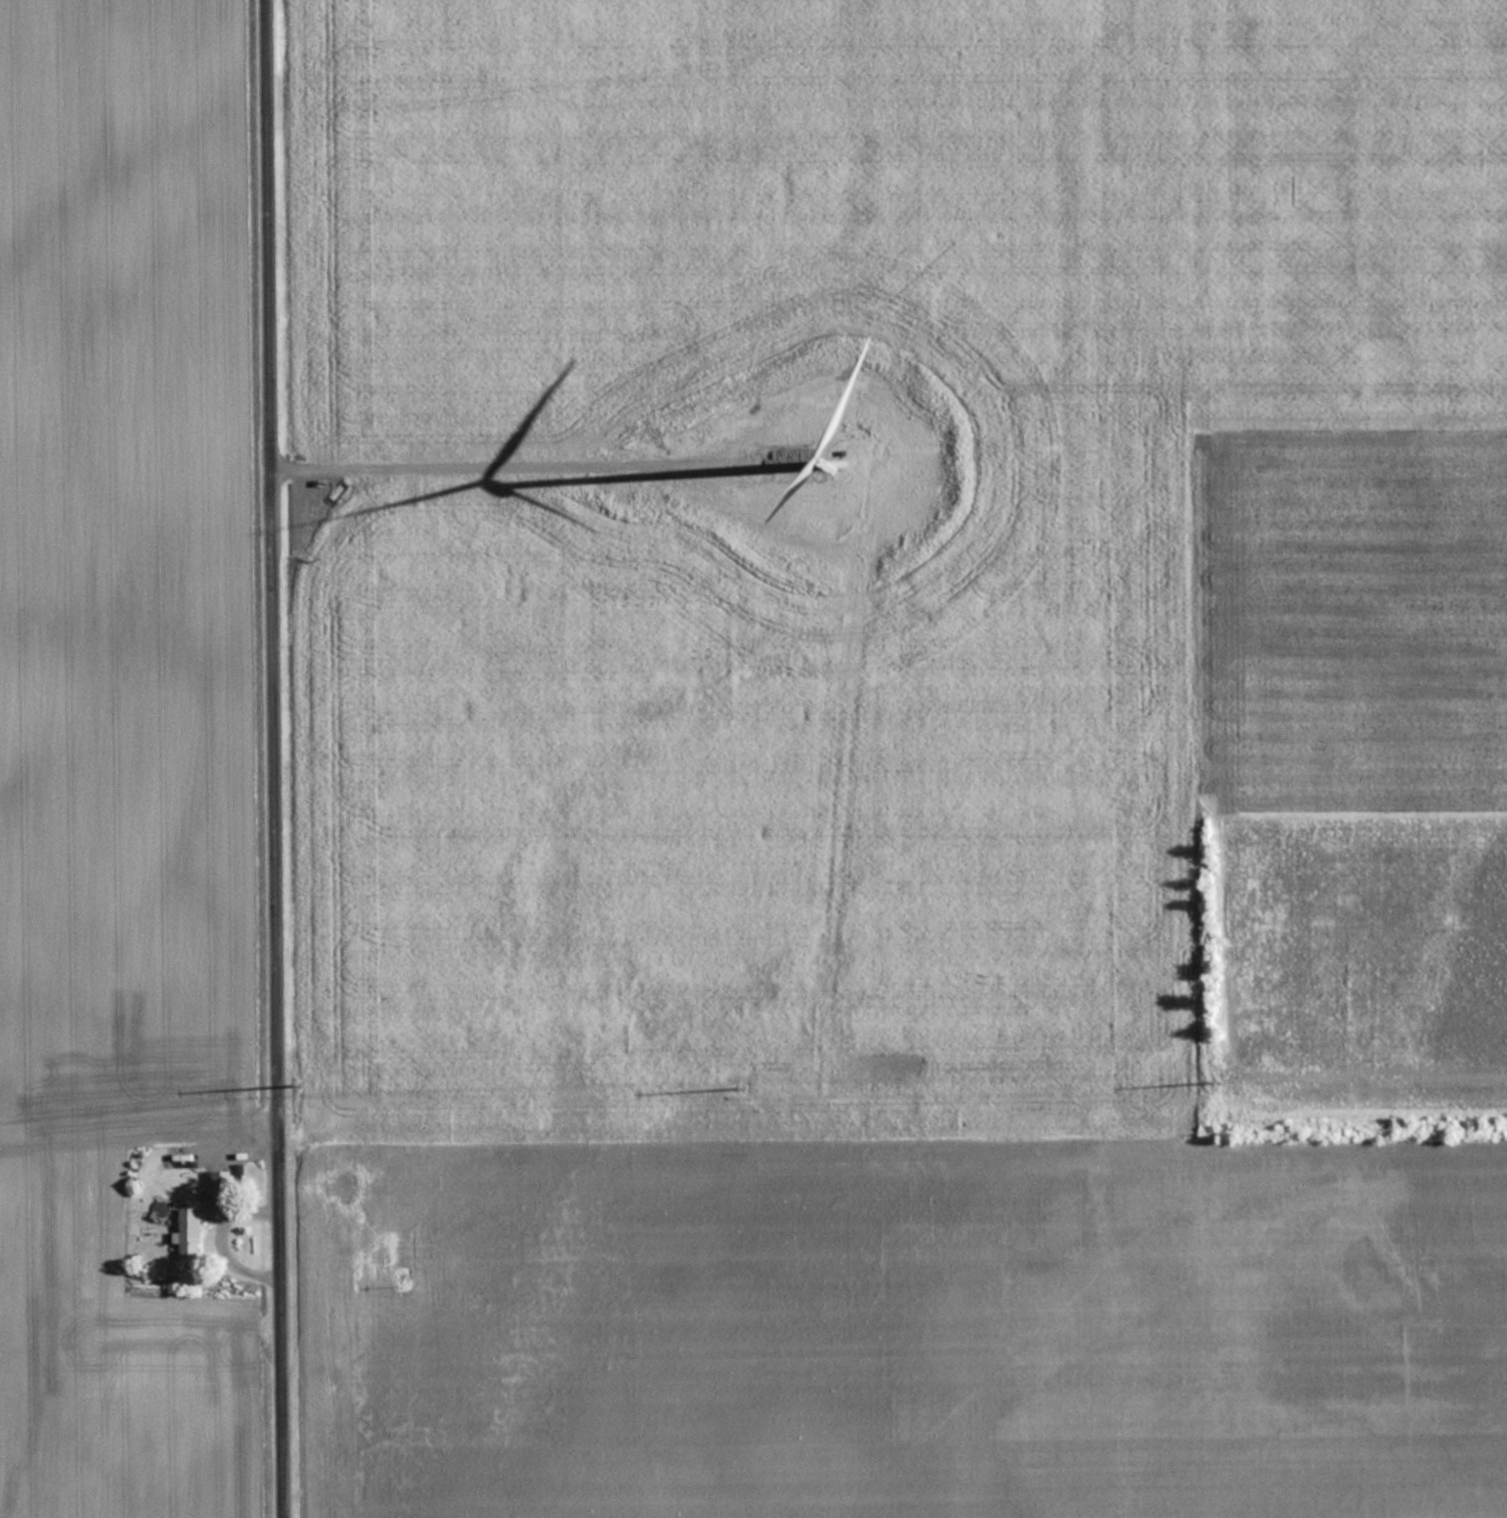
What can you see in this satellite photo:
wind turbine: (826, 459)
road: (274, 758)
building: (225, 1182)
building: (188, 1232)

